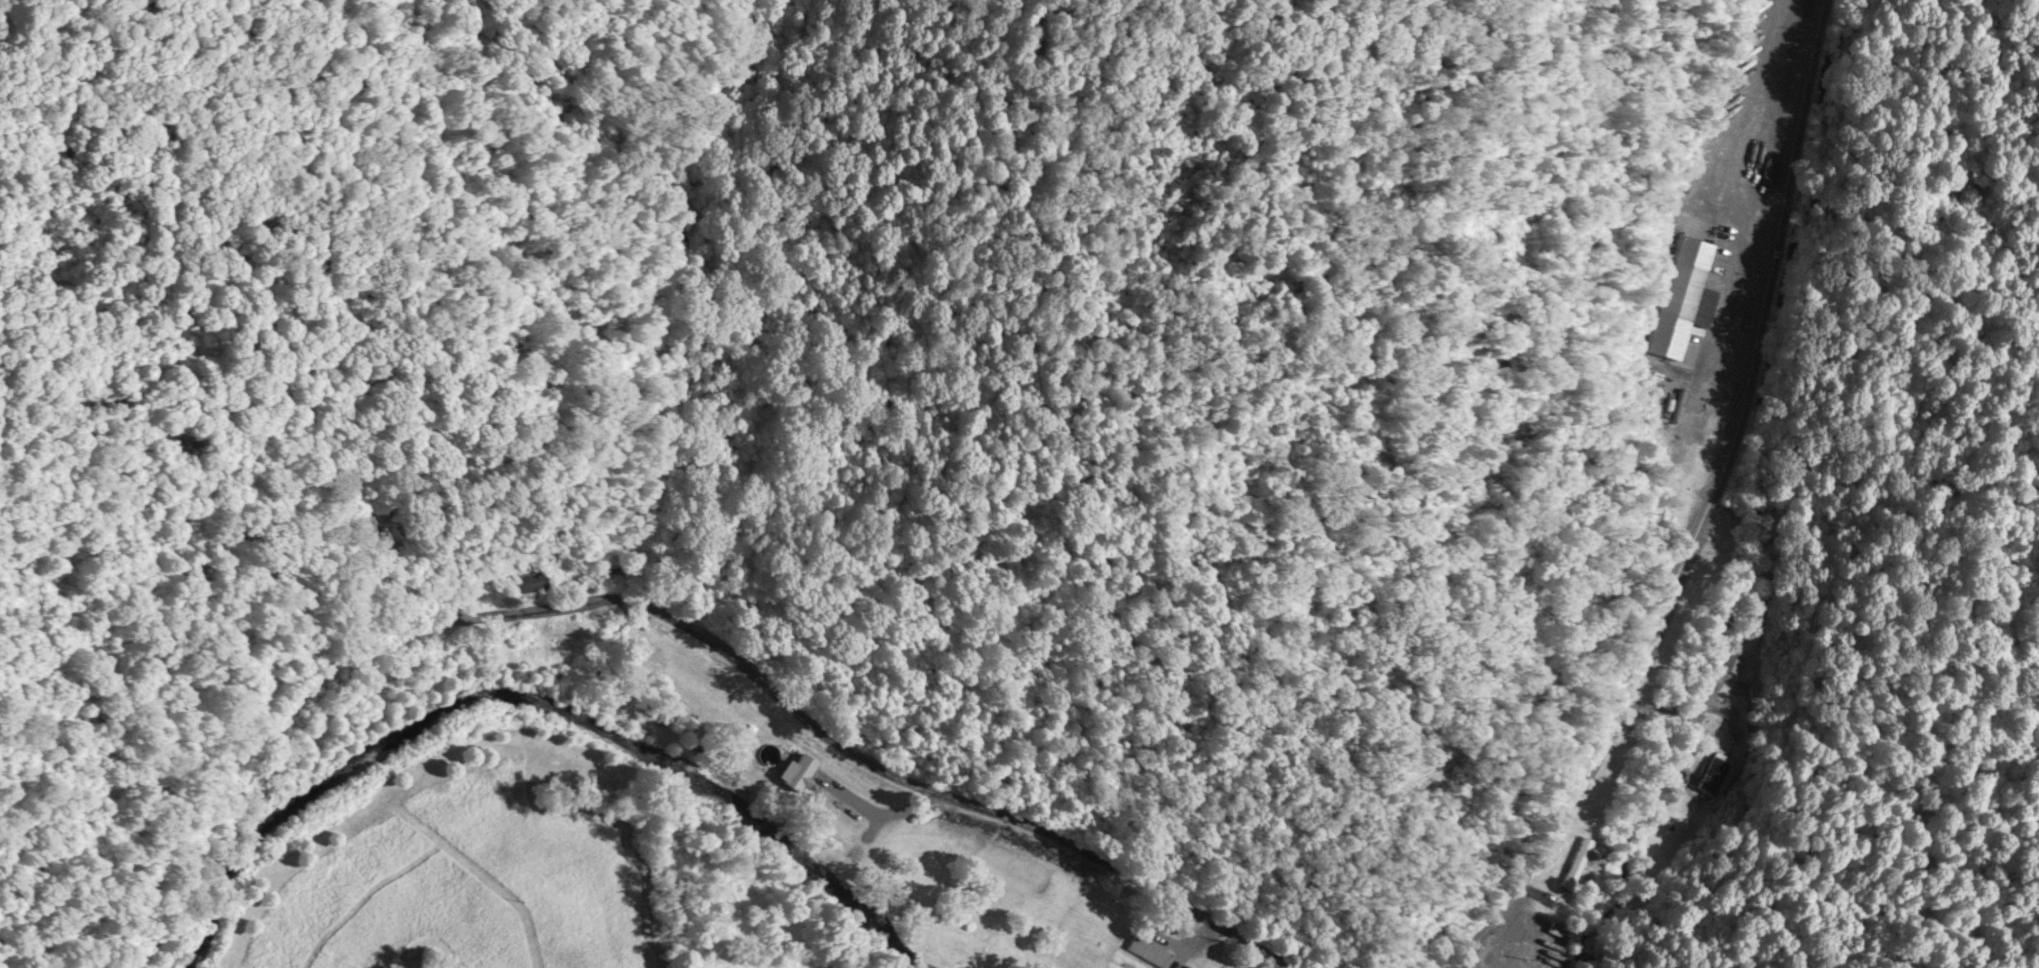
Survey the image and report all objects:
building: (1680, 297)
building: (1665, 437)
road: (1700, 512)
building: (532, 580)
road: (666, 614)
building: (1732, 661)
building: (1715, 773)
building: (1579, 865)

